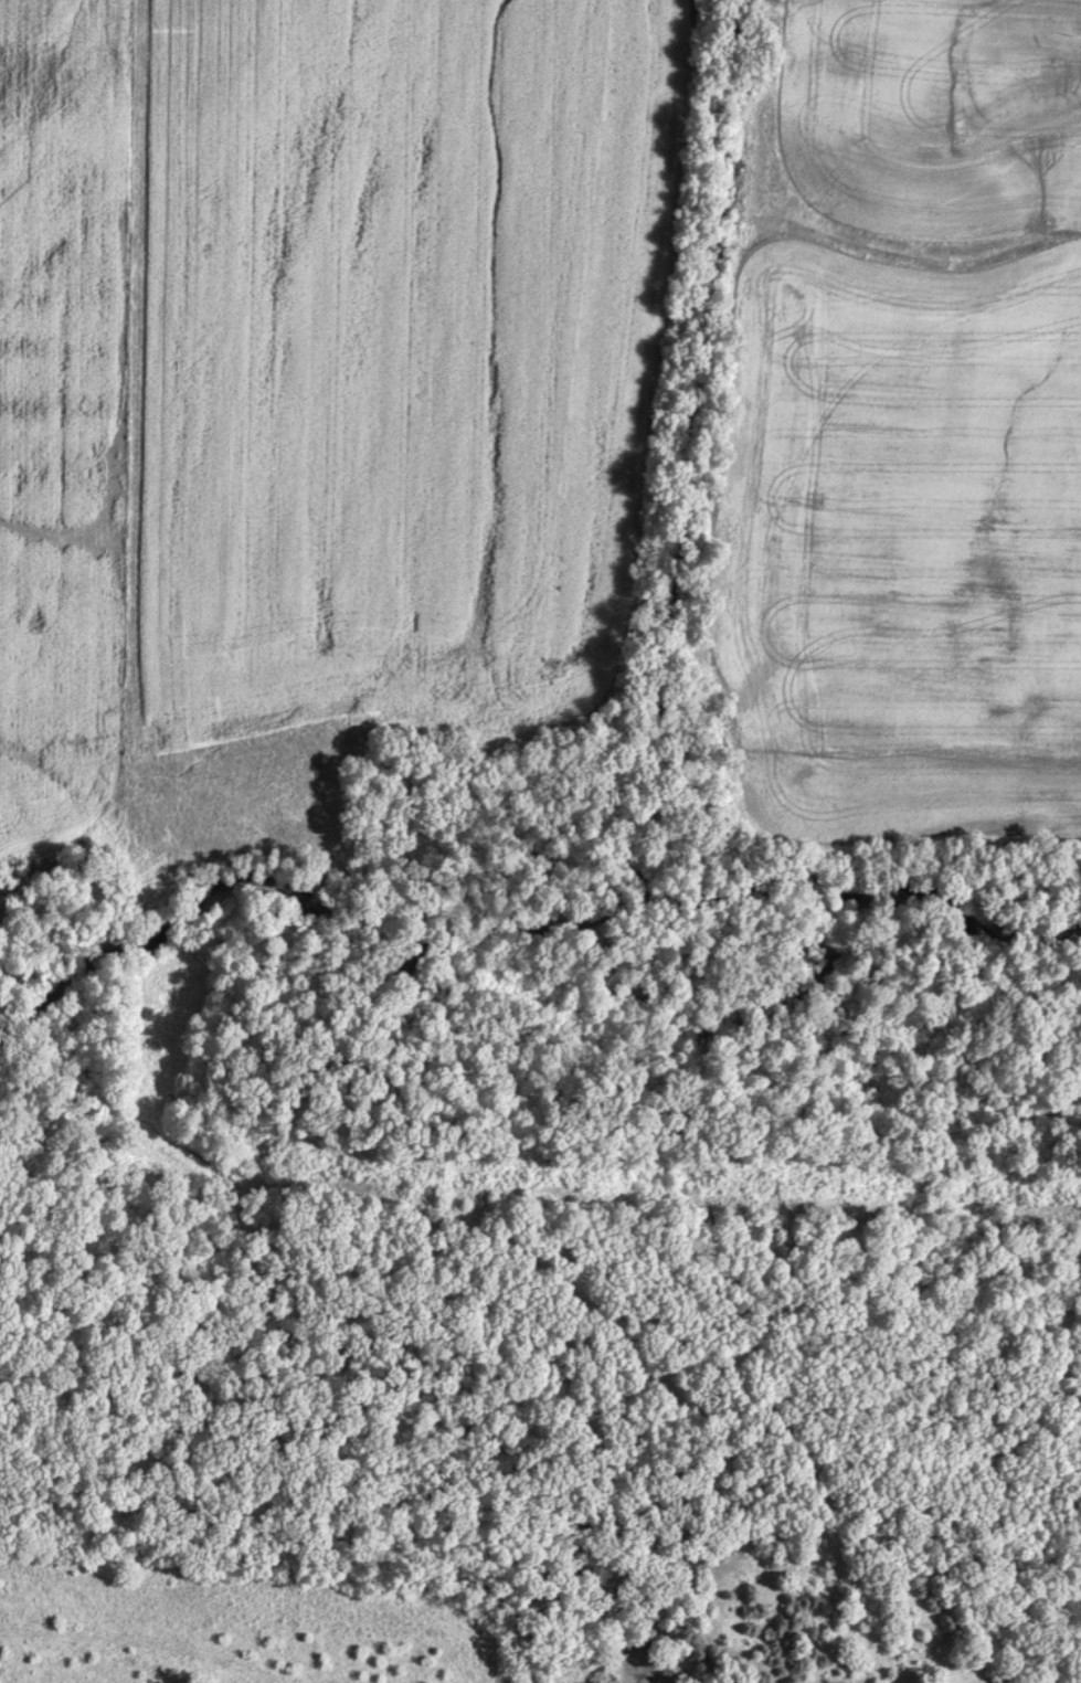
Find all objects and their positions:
road: (1077, 688)

